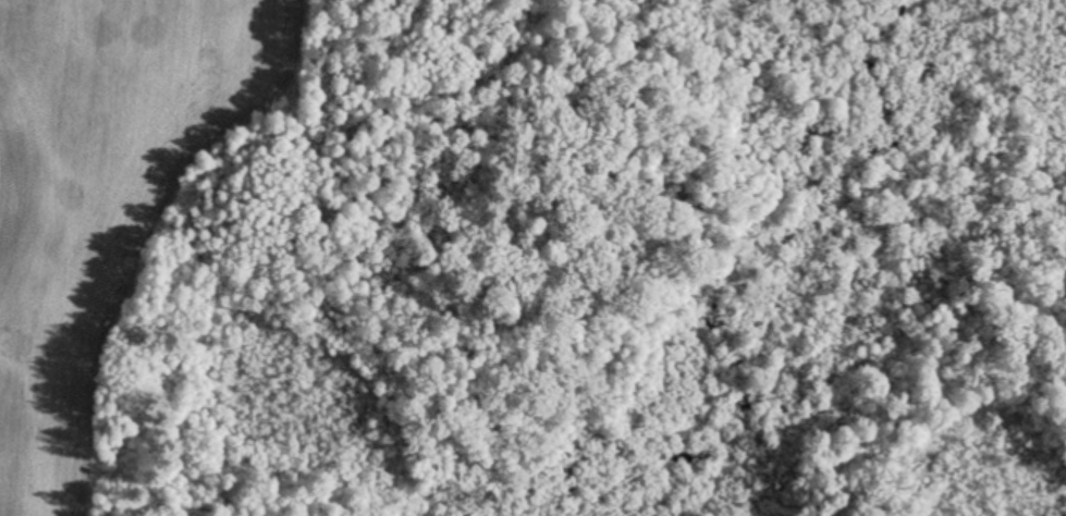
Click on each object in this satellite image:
river: (760, 272)

